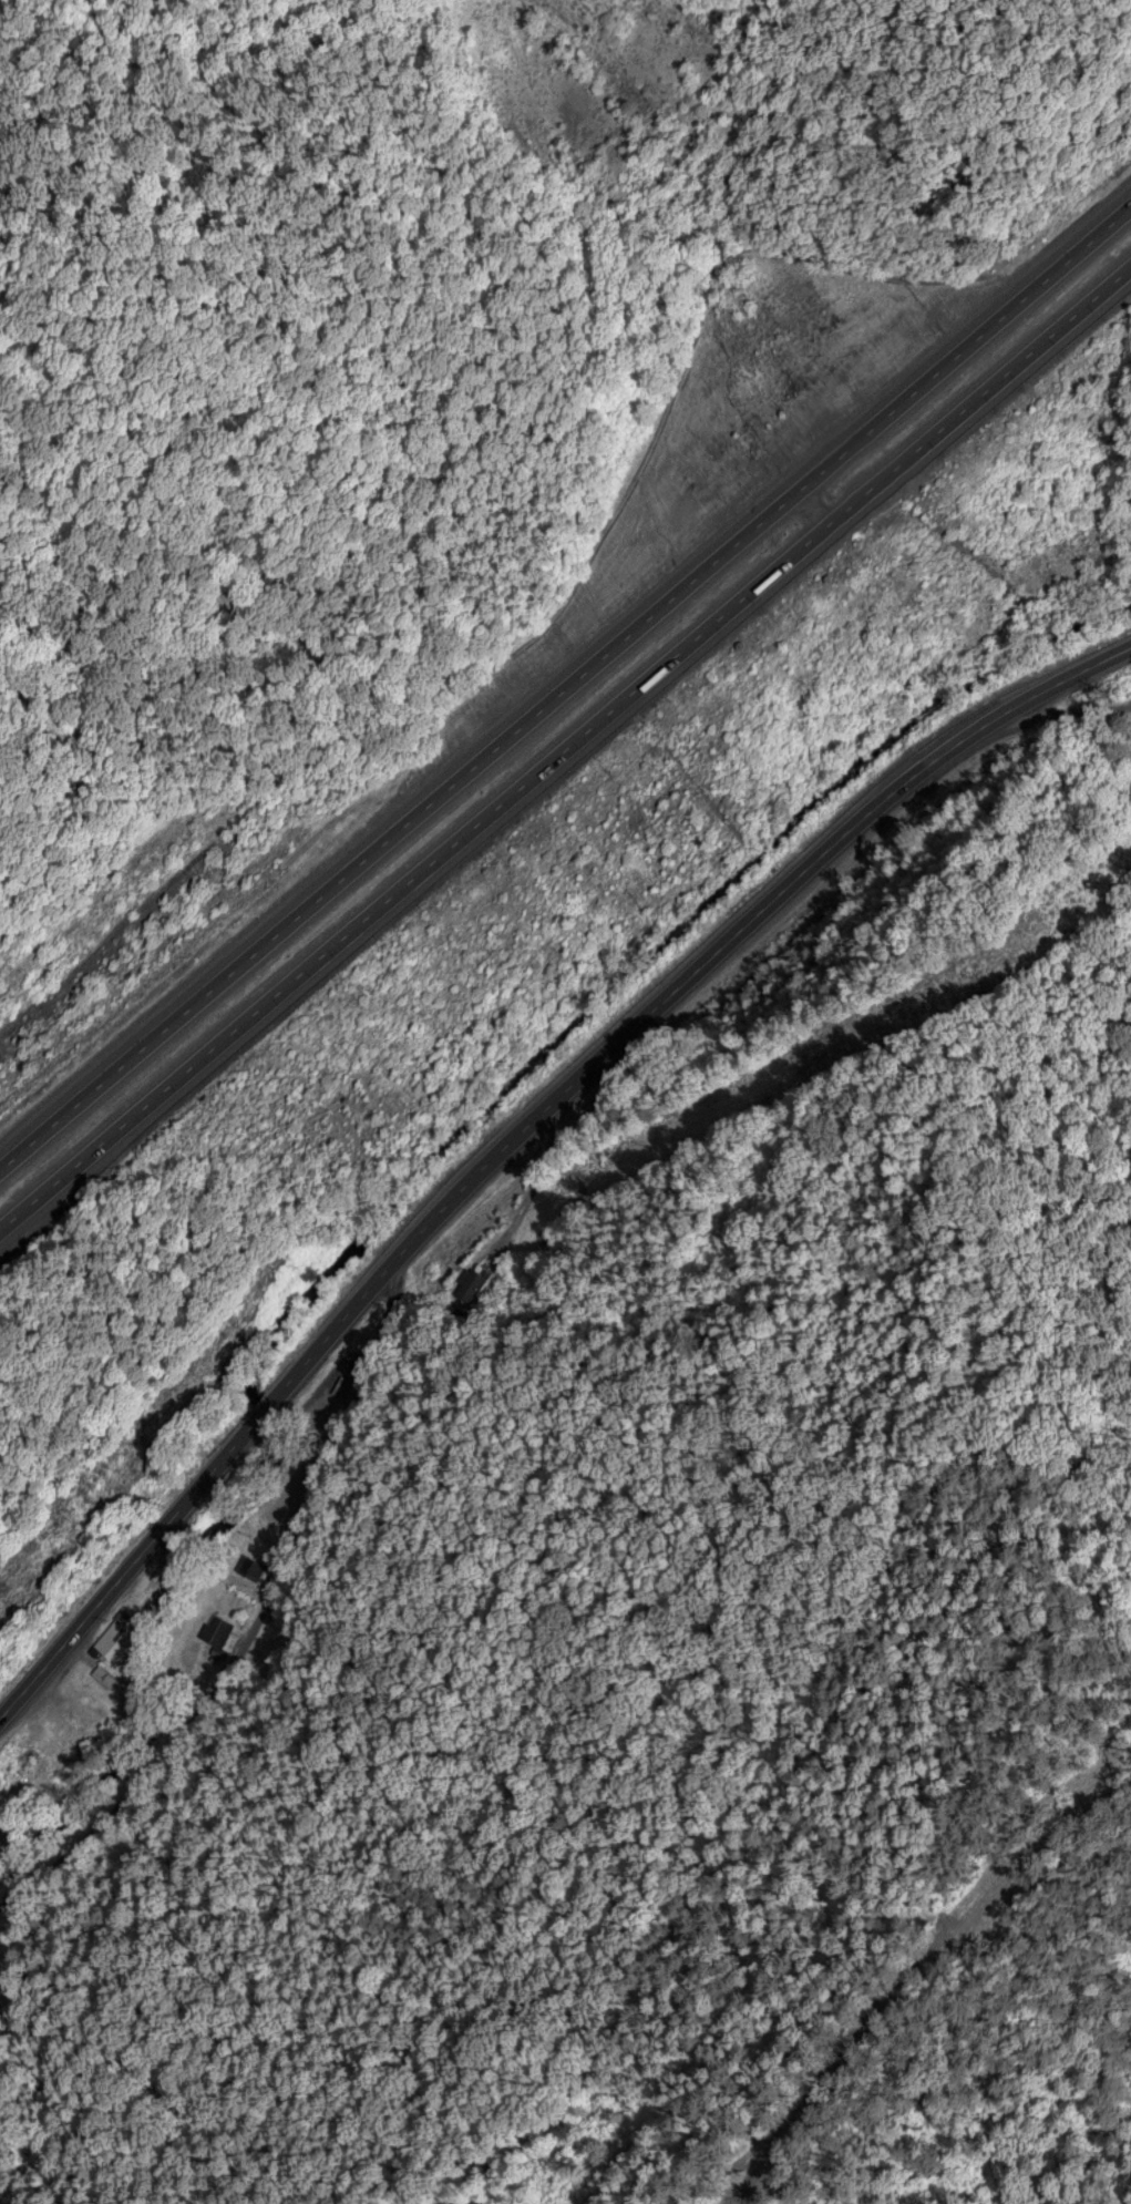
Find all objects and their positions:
road: (565, 684)
road: (1080, 703)
road: (565, 748)
road: (522, 1129)
building: (256, 1565)
building: (220, 1627)
building: (115, 1637)
road: (238, 1659)
building: (105, 1673)
building: (10, 1743)
building: (1, 1843)
building: (0, 1849)
road: (926, 1981)

